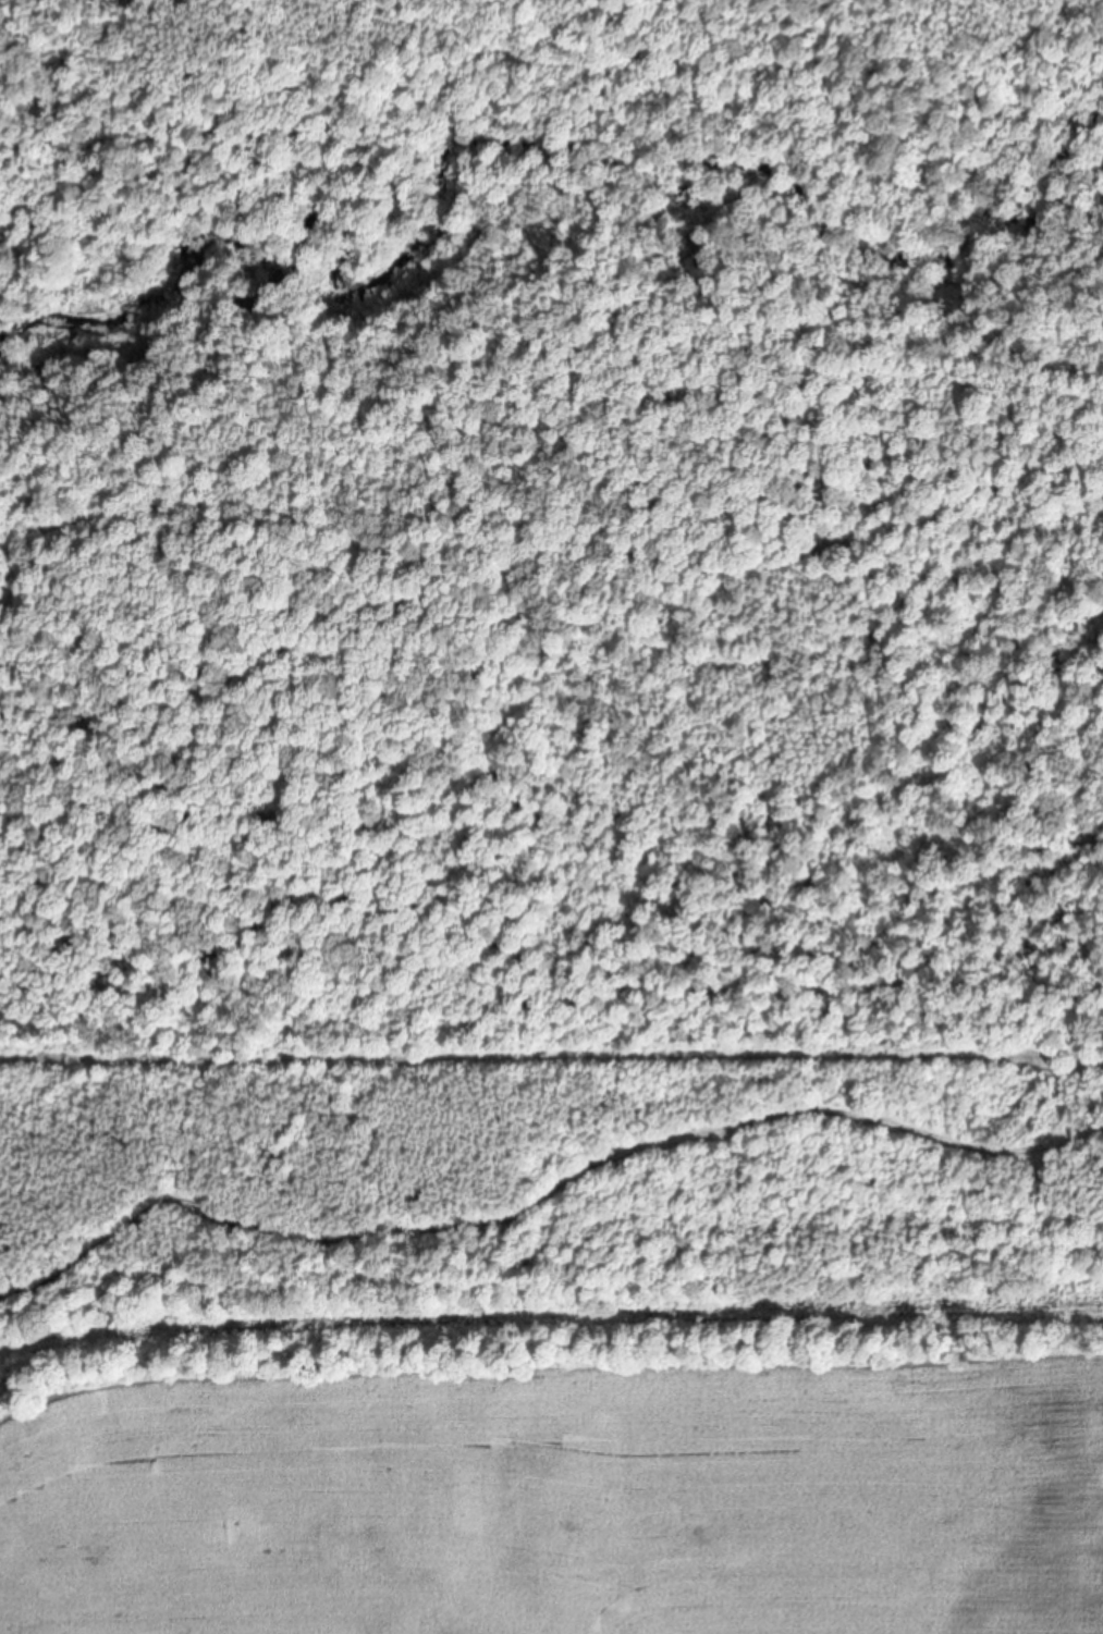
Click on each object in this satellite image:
railway: (550, 1318)

